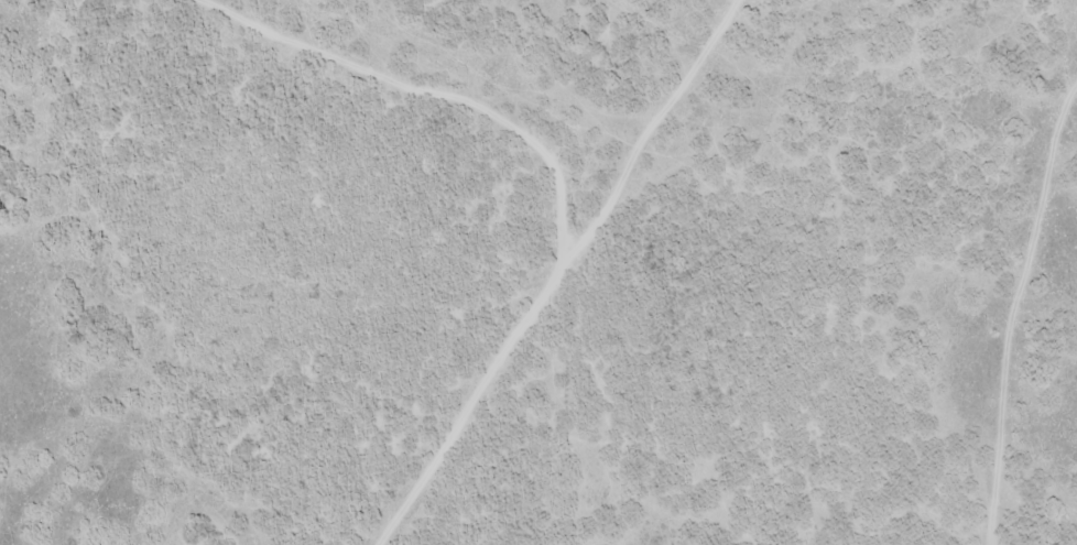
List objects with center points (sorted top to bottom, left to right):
road: (1029, 348)

